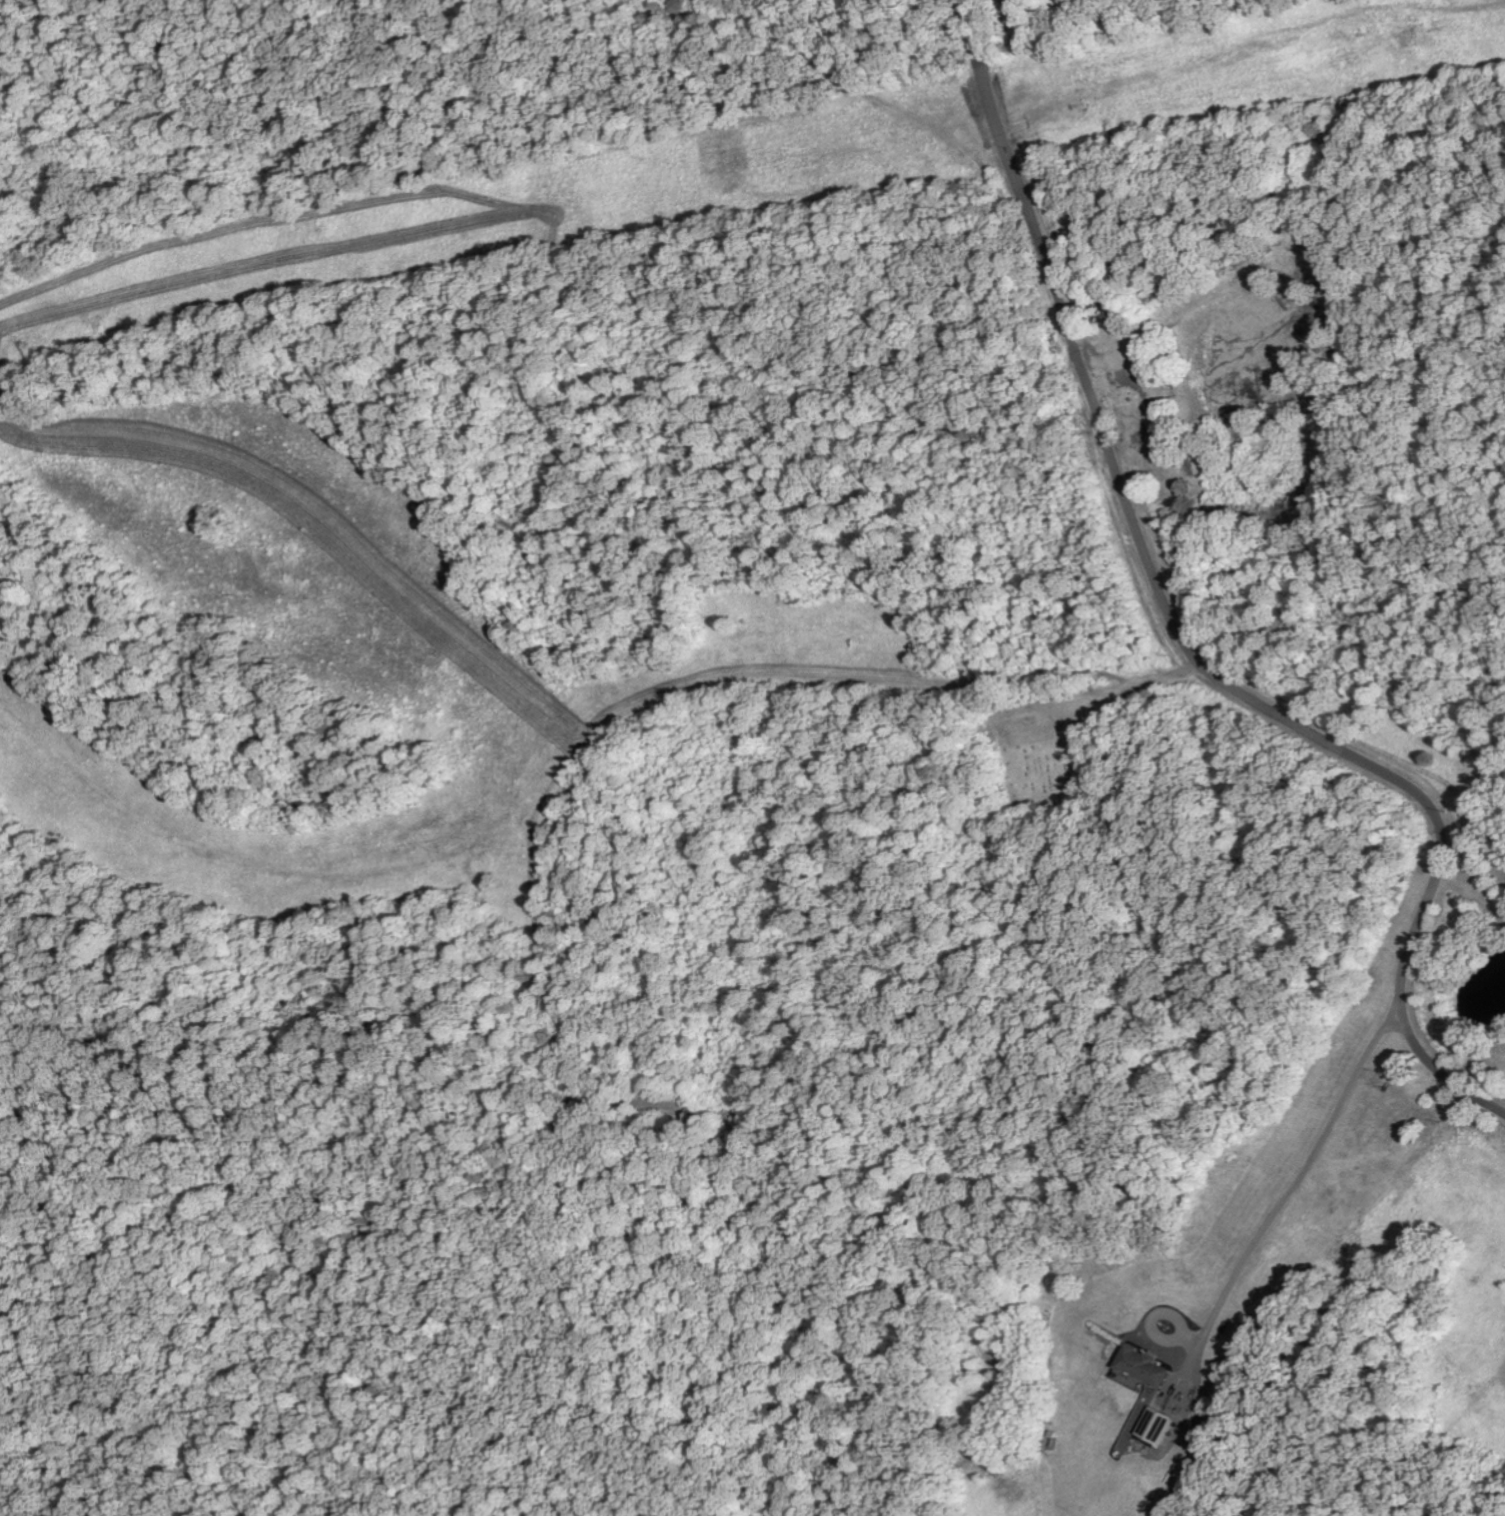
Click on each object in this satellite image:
road: (1181, 629)
park: (1041, 751)
road: (455, 1331)
building: (1139, 1365)

